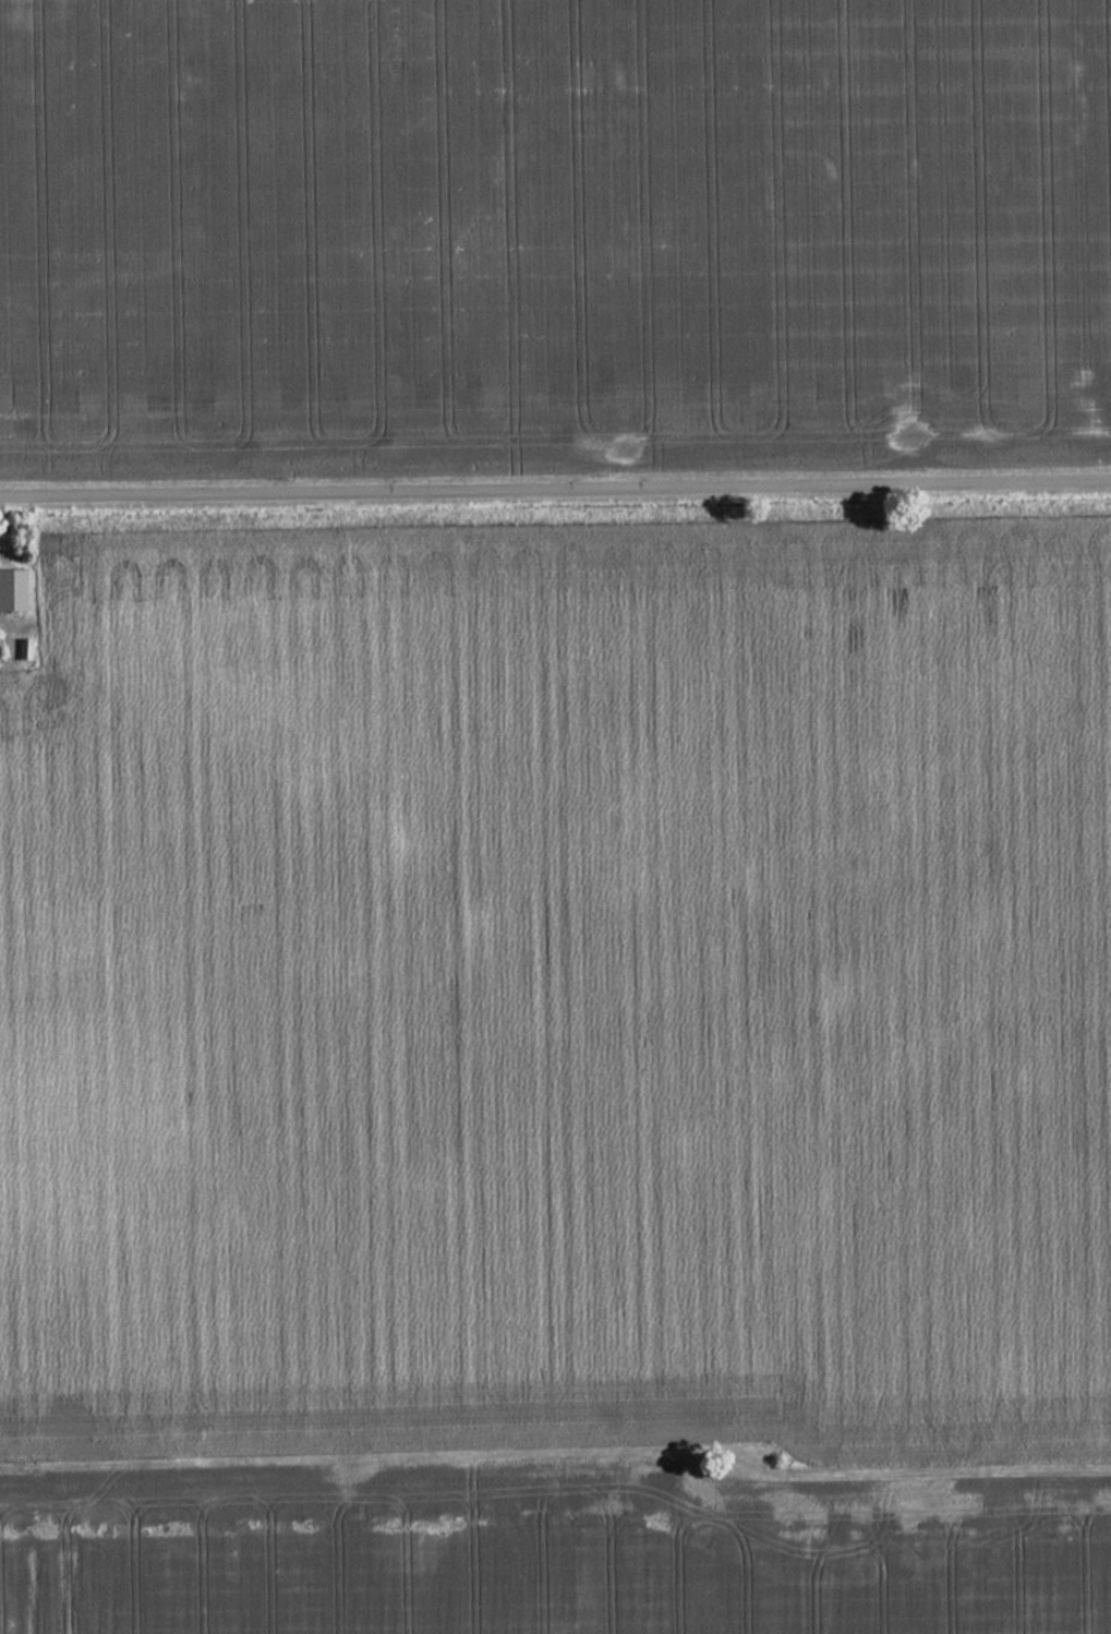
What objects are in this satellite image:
crop: (552, 229)
road: (555, 486)
crop: (561, 994)
crop: (535, 1549)

